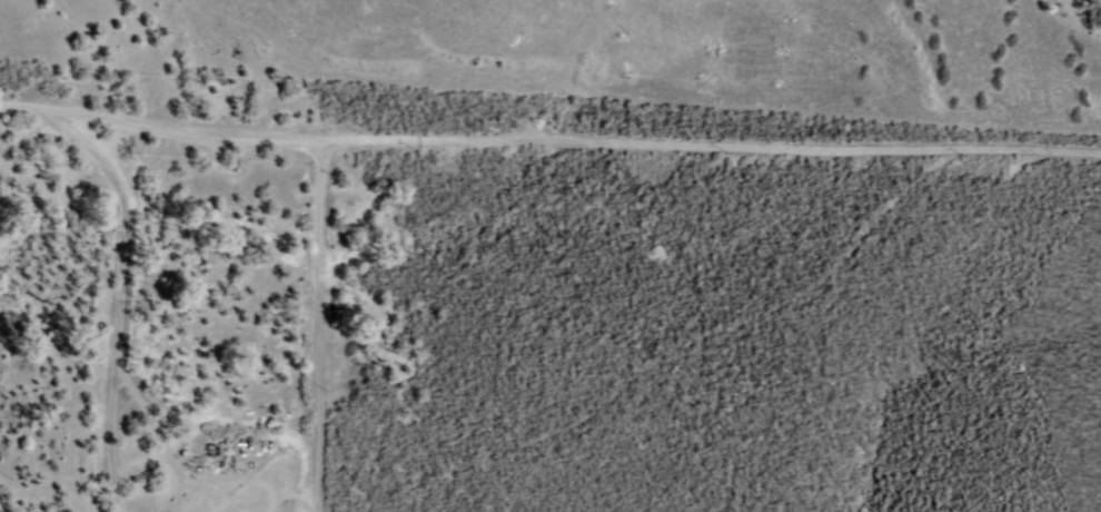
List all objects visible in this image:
road: (549, 141)

